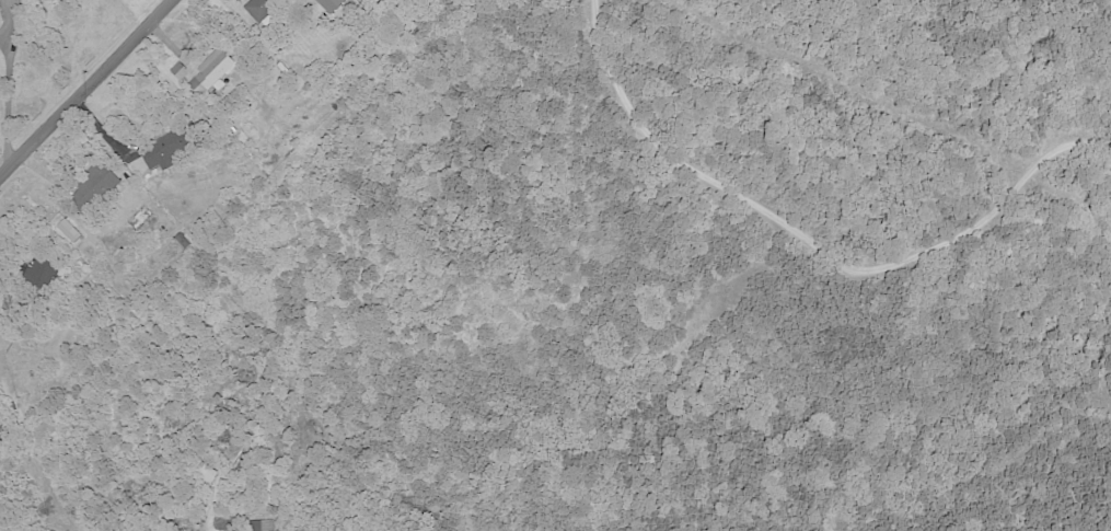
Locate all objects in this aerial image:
building: (258, 8)
road: (3, 46)
building: (178, 71)
building: (209, 72)
road: (85, 85)
road: (5, 88)
building: (160, 152)
building: (96, 184)
building: (68, 230)
road: (814, 245)
building: (40, 272)
building: (259, 526)

